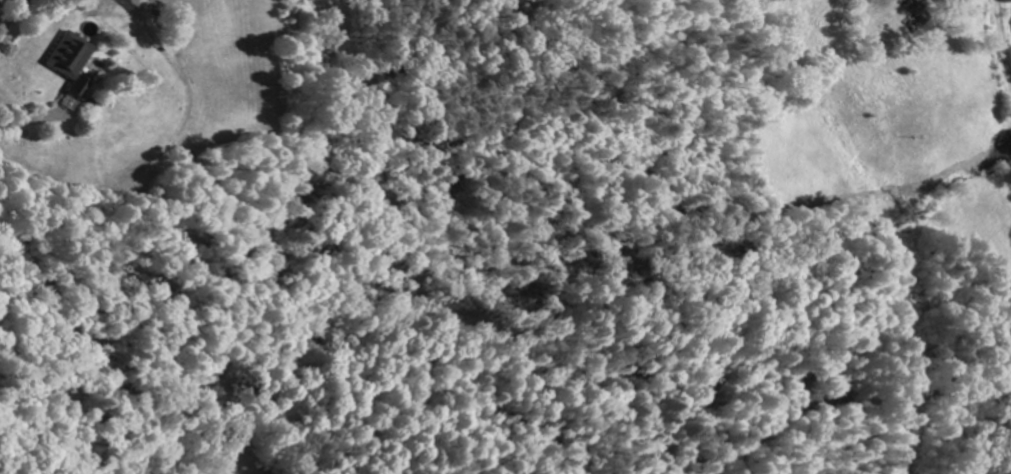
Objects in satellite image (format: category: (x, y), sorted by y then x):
road: (14, 21)
building: (71, 61)
road: (832, 156)

